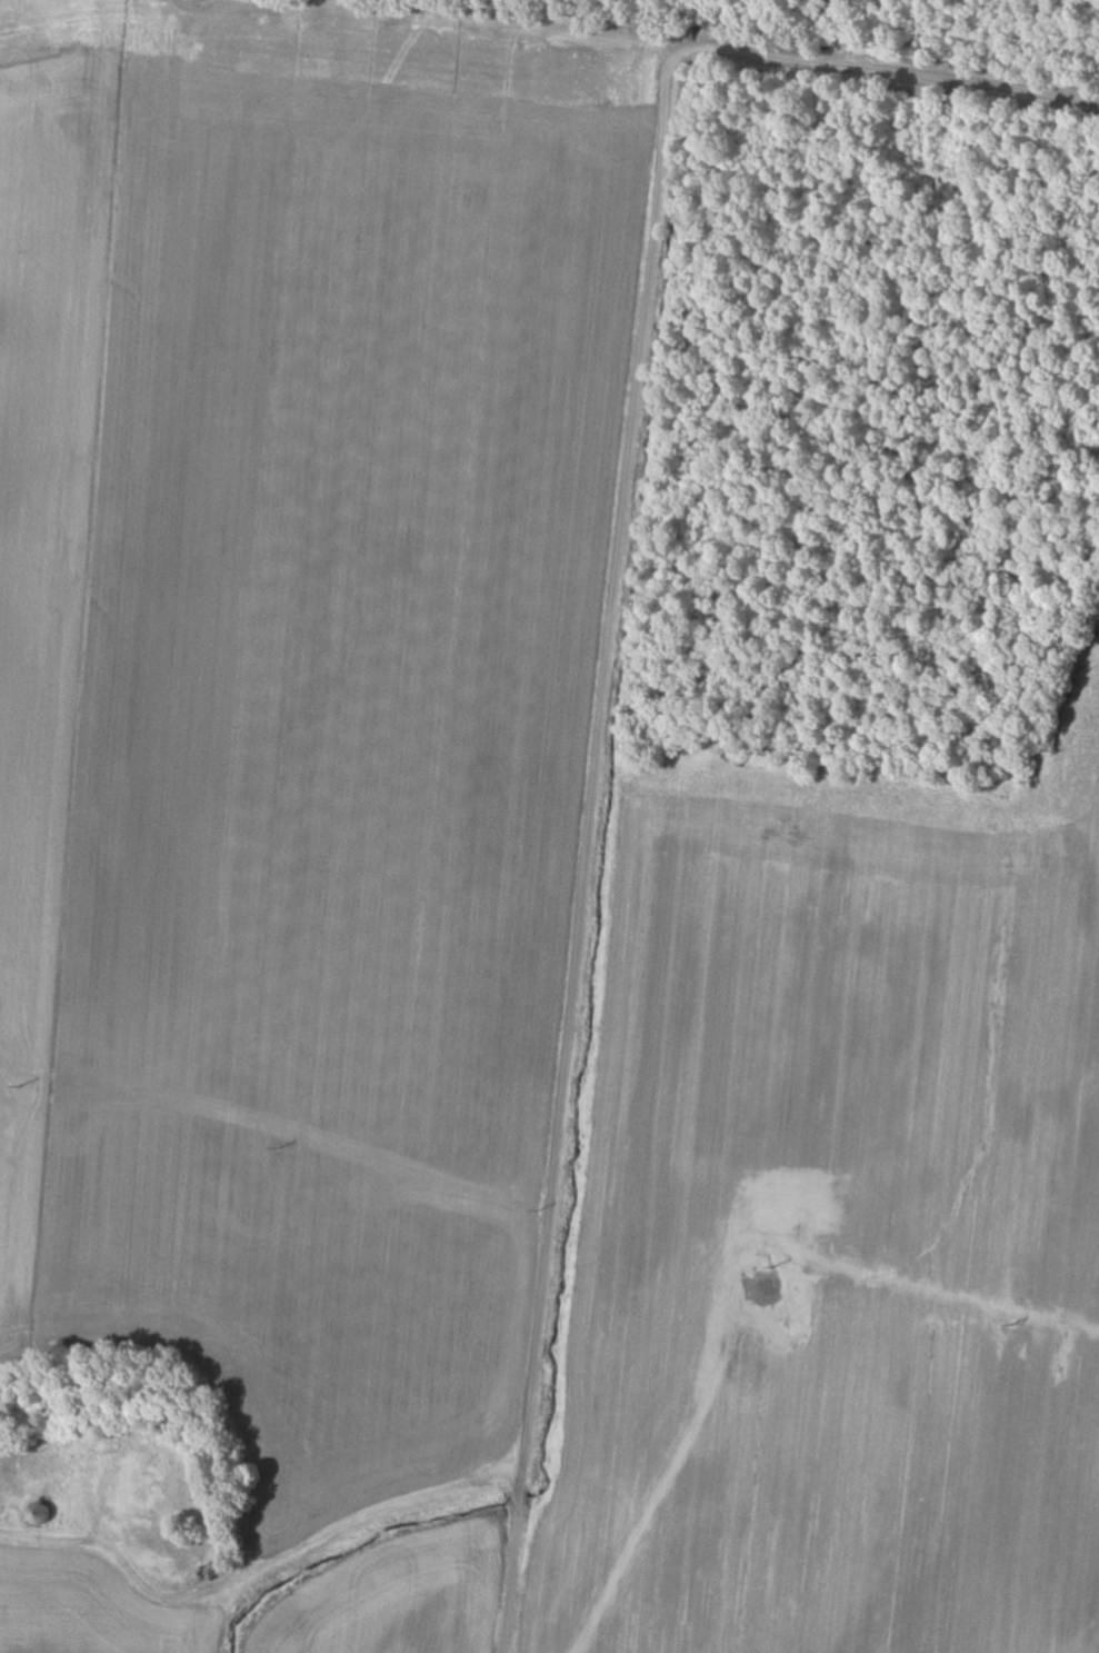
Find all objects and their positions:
road: (578, 27)
road: (886, 71)
road: (587, 853)
road: (266, 1570)

